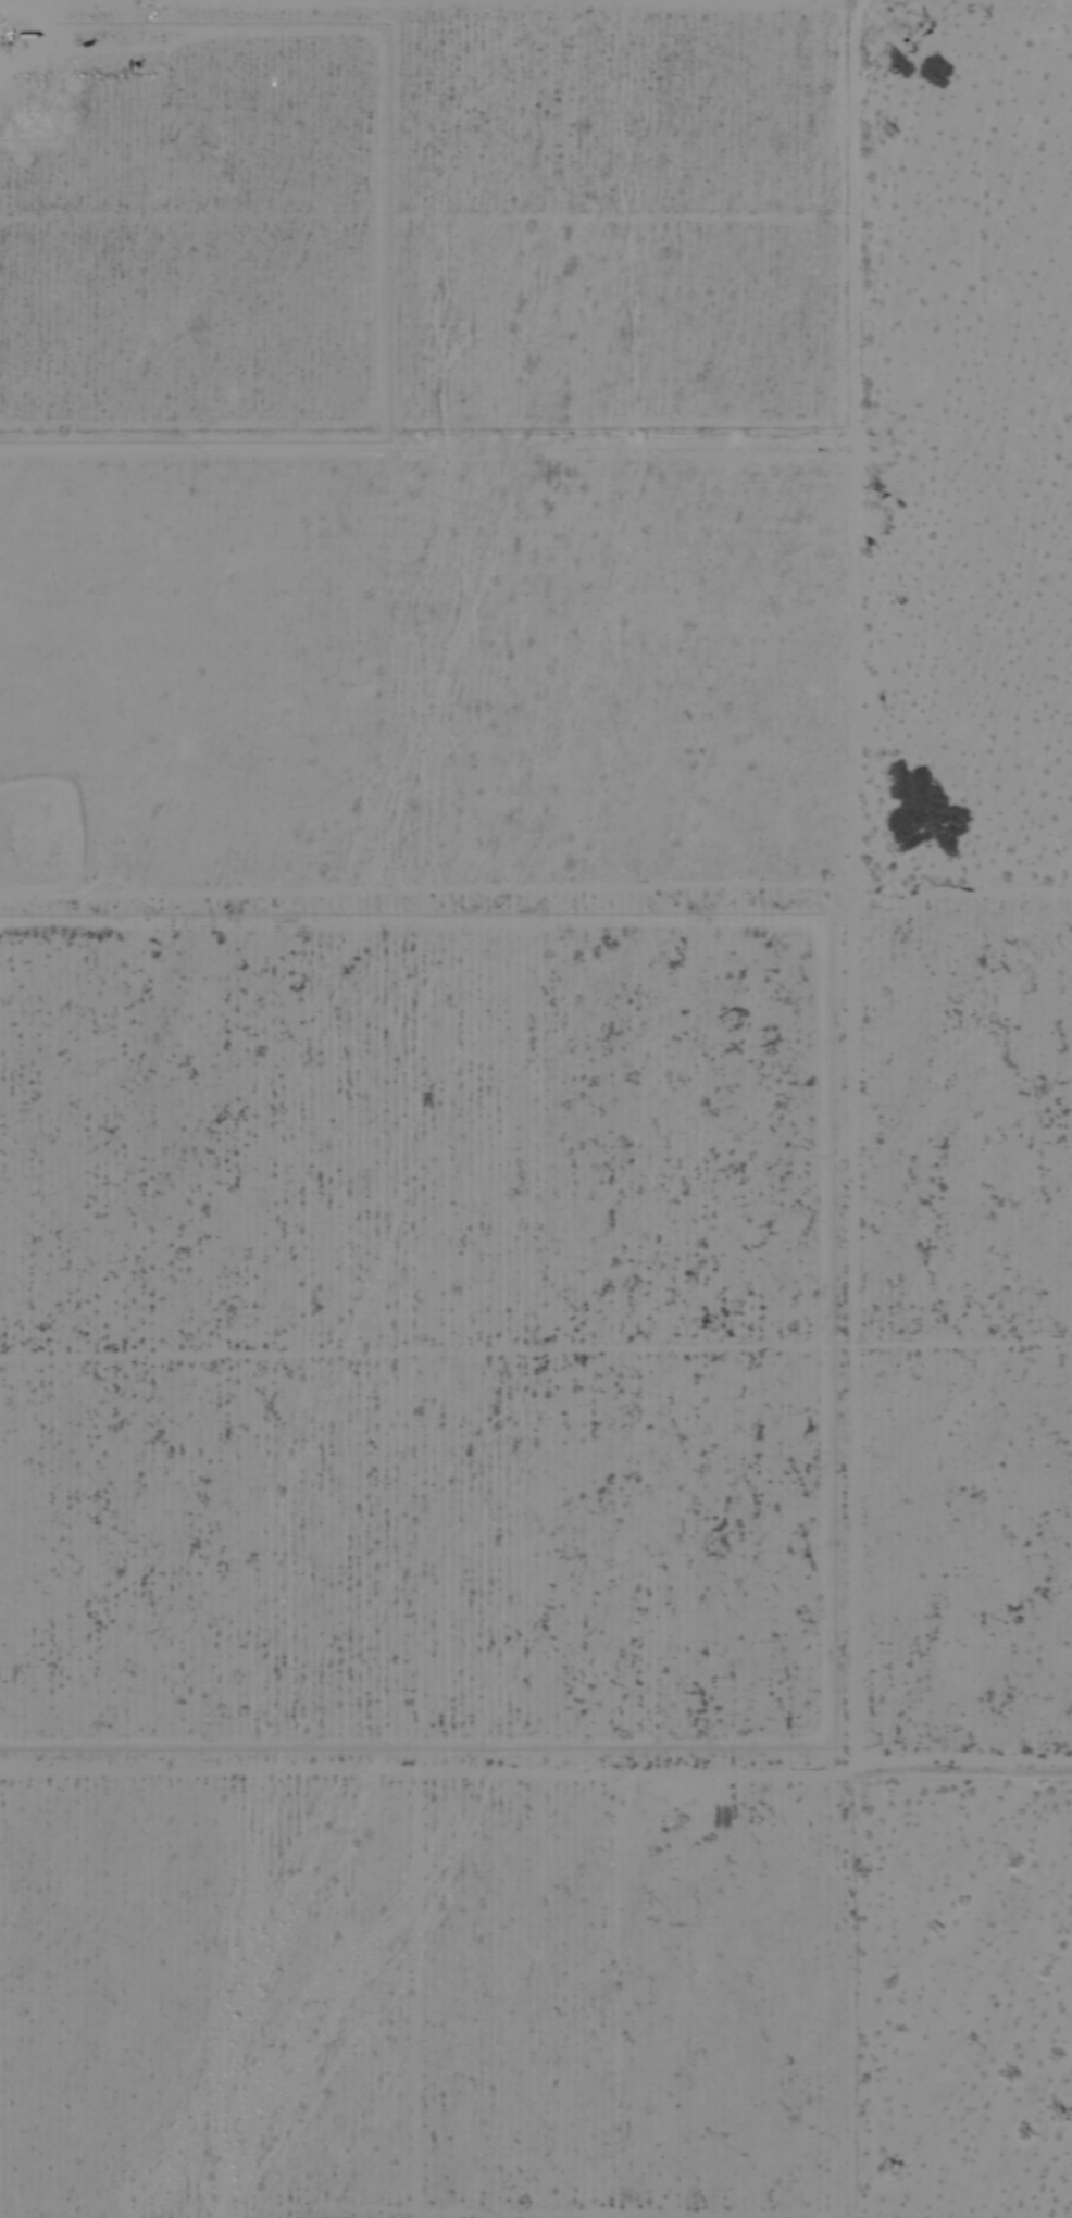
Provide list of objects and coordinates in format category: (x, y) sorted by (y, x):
crop: (516, 1069)

